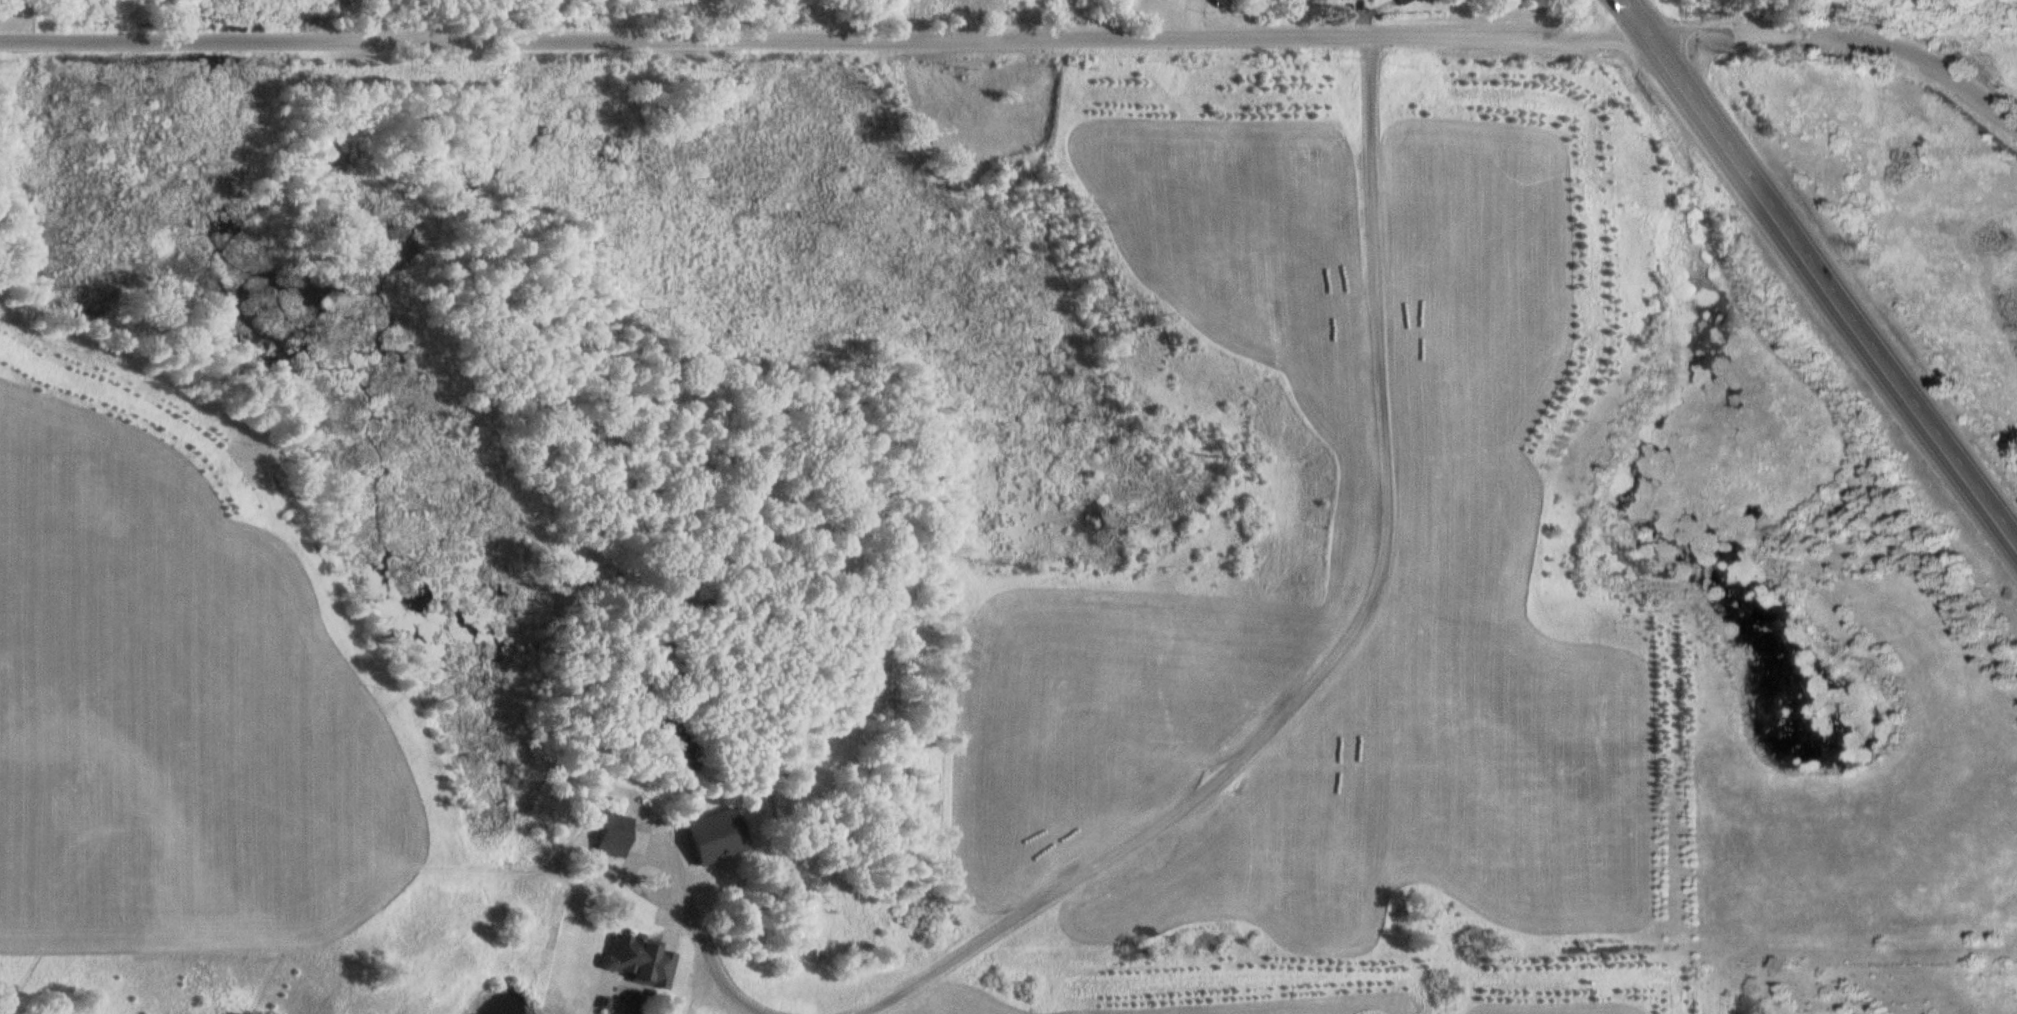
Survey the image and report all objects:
building: (1404, 1)
road: (1358, 9)
road: (1359, 14)
road: (1192, 16)
road: (1021, 33)
road: (1820, 268)
road: (1341, 642)
building: (611, 830)
building: (713, 833)
road: (632, 854)
building: (636, 954)
road: (716, 972)
building: (602, 998)

